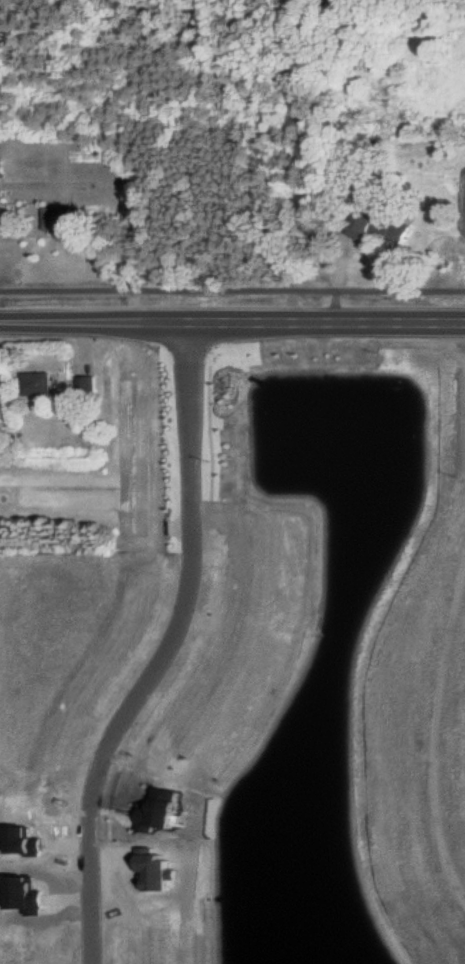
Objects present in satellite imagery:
building: (1, 169)
building: (57, 218)
building: (376, 224)
road: (232, 284)
road: (232, 321)
building: (38, 382)
building: (86, 384)
road: (166, 652)
building: (156, 810)
building: (20, 840)
building: (152, 869)
building: (22, 894)

